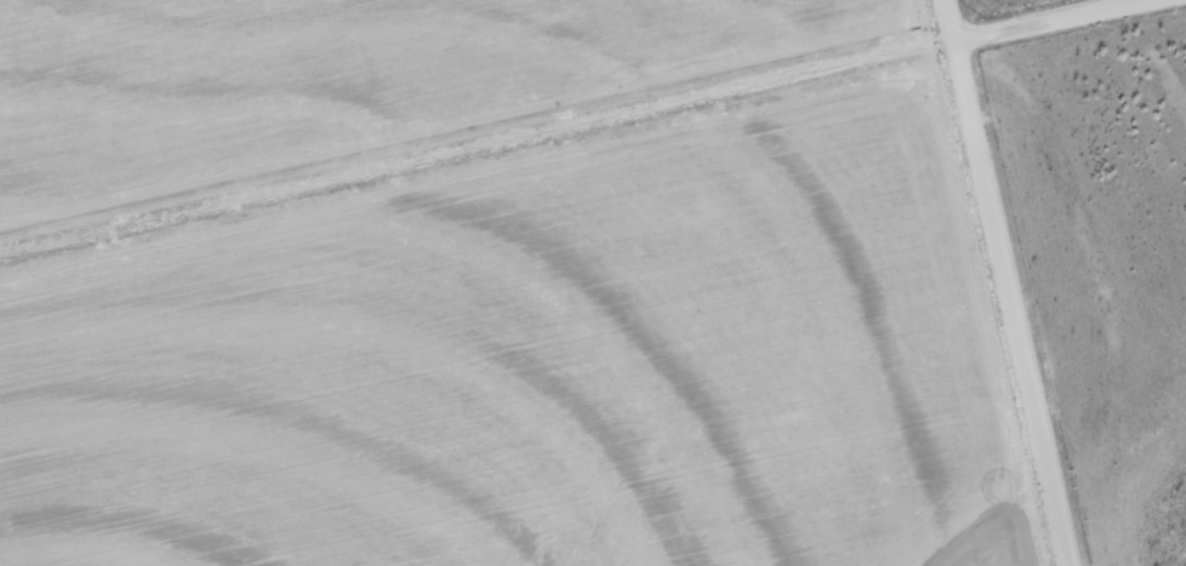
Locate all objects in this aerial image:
road: (1053, 22)
road: (975, 285)

